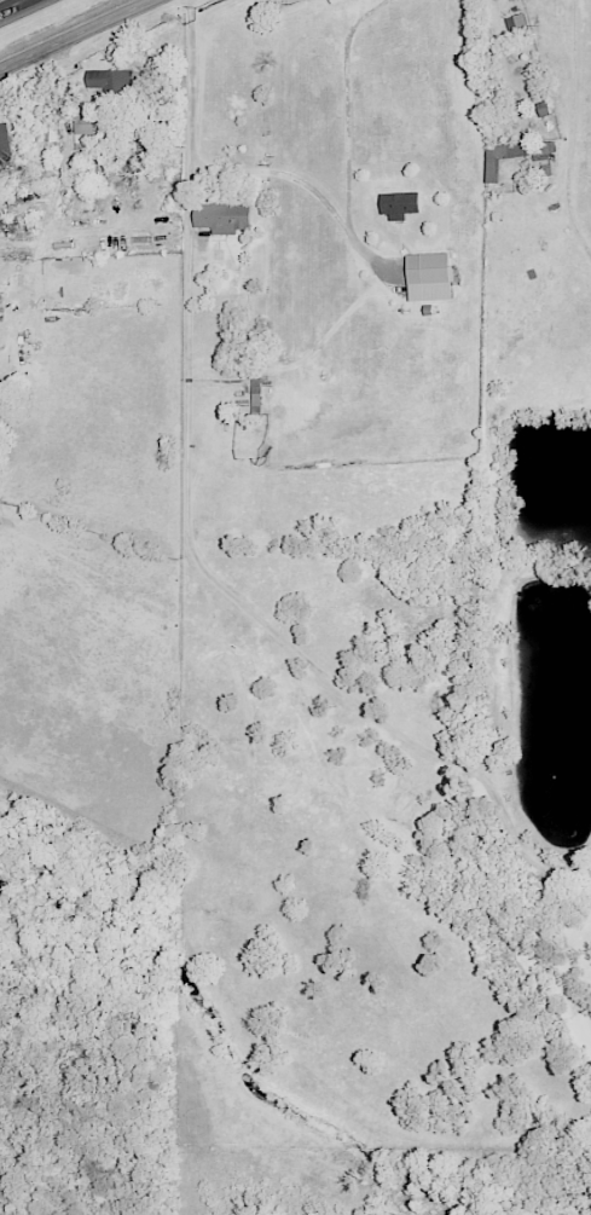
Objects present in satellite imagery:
building: (332, 1)
road: (16, 7)
road: (80, 35)
building: (110, 83)
road: (346, 131)
building: (51, 132)
road: (569, 133)
building: (4, 139)
building: (489, 169)
building: (398, 204)
building: (220, 218)
building: (425, 277)
building: (251, 393)
road: (186, 540)

